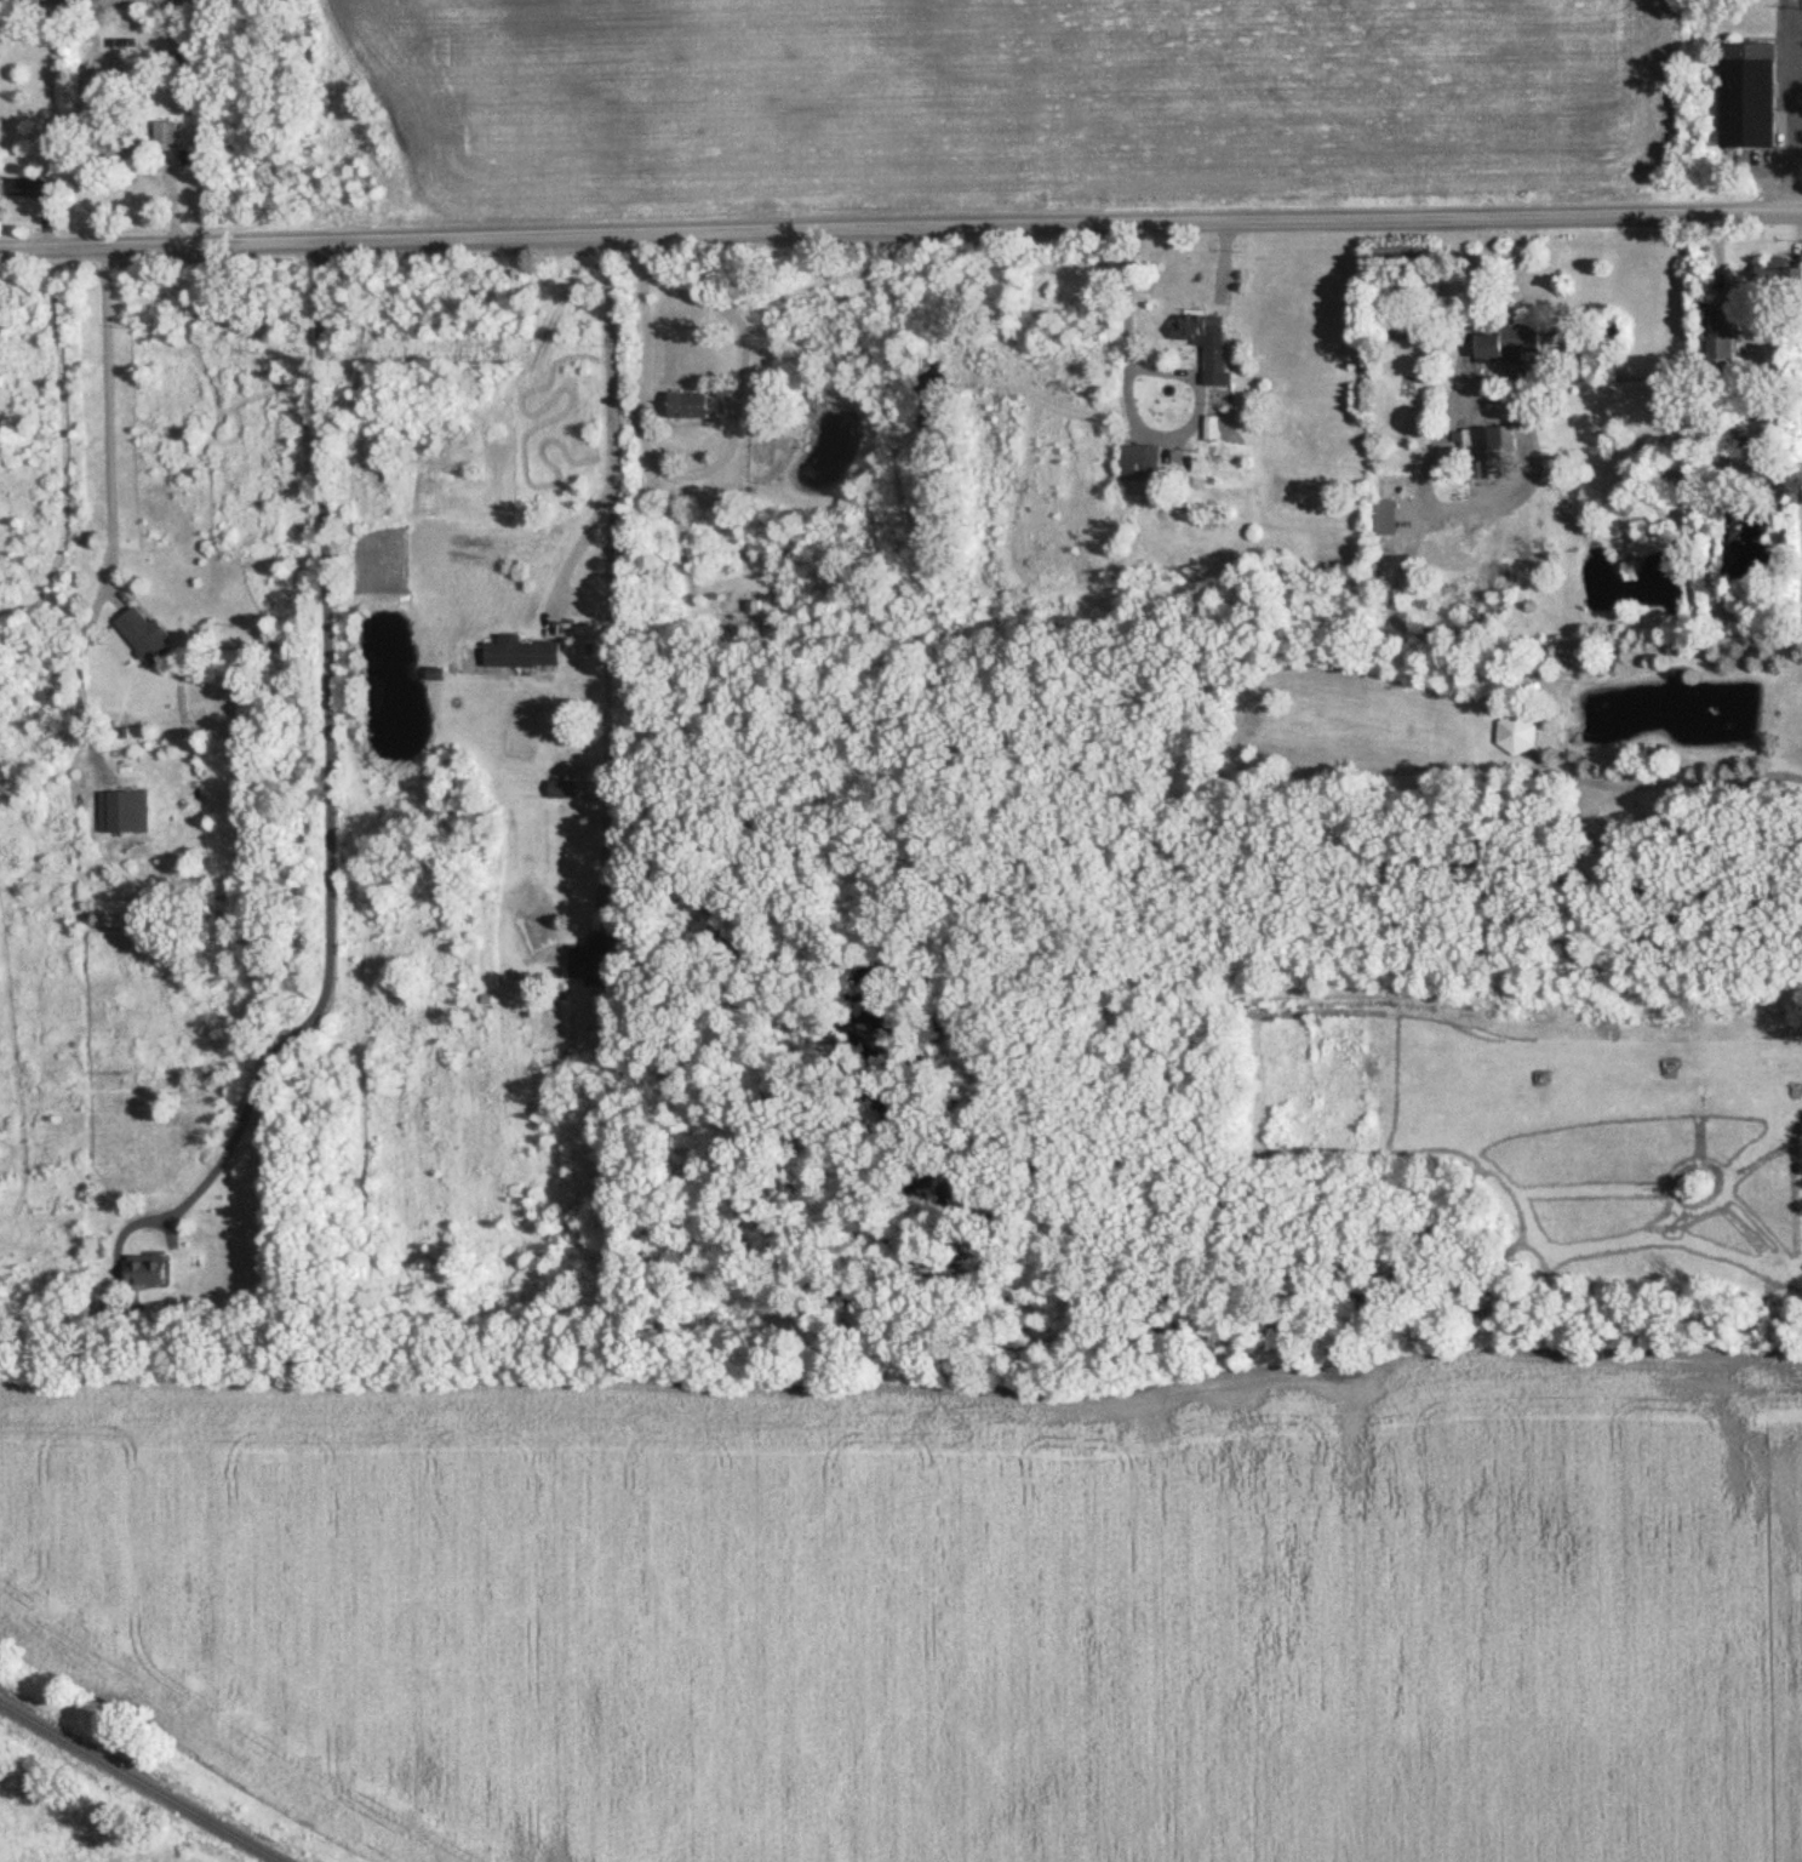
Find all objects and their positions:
building: (1747, 93)
road: (1789, 104)
building: (165, 132)
building: (120, 143)
building: (0, 188)
road: (900, 222)
building: (1777, 273)
building: (1509, 342)
building: (1206, 343)
building: (1720, 350)
building: (692, 405)
building: (1488, 446)
building: (1139, 468)
road: (109, 497)
road: (576, 553)
building: (1629, 570)
road: (611, 571)
building: (749, 610)
building: (145, 635)
building: (521, 652)
building: (1516, 732)
road: (330, 753)
building: (561, 788)
building: (125, 811)
building: (595, 959)
building: (145, 1268)
building: (115, 1309)
railway: (137, 1783)

